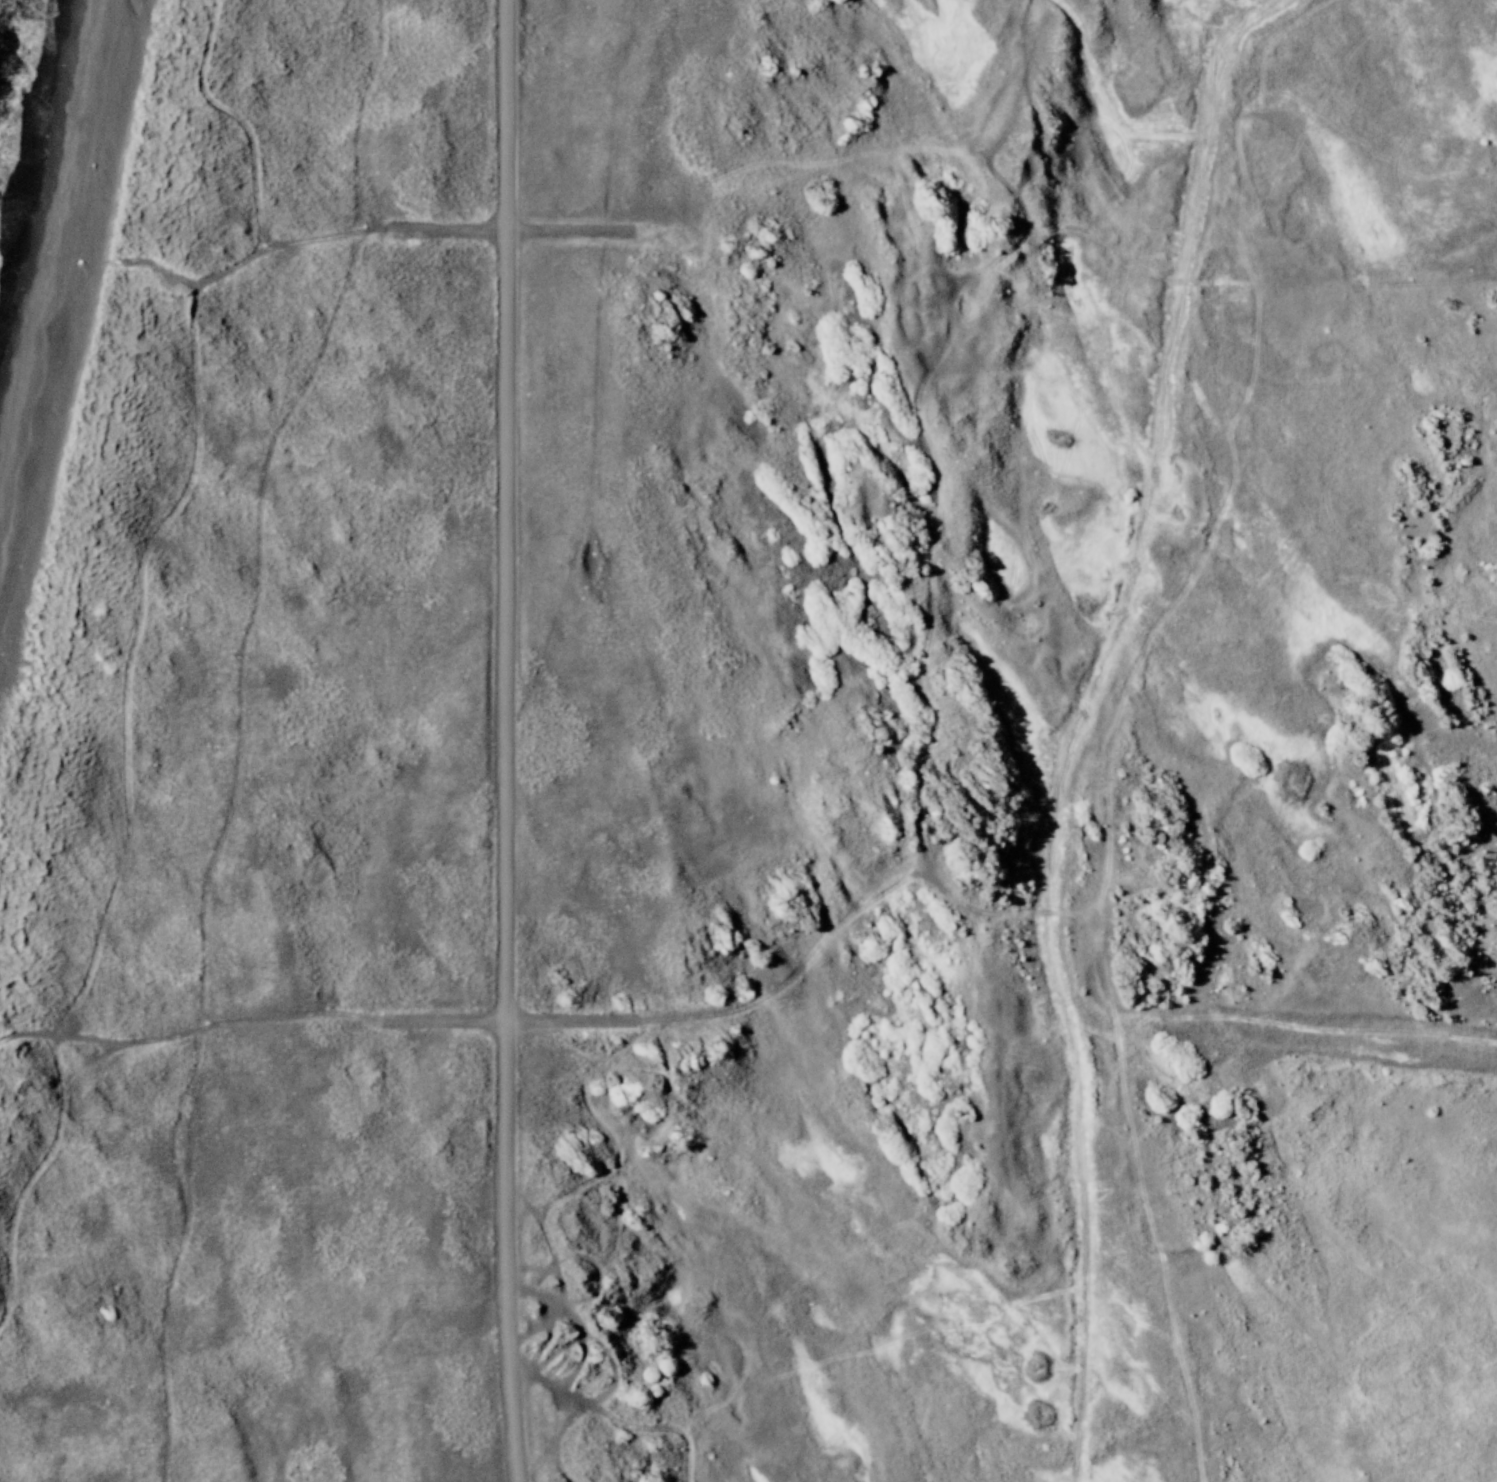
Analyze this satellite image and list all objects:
road: (133, 635)
road: (509, 741)

